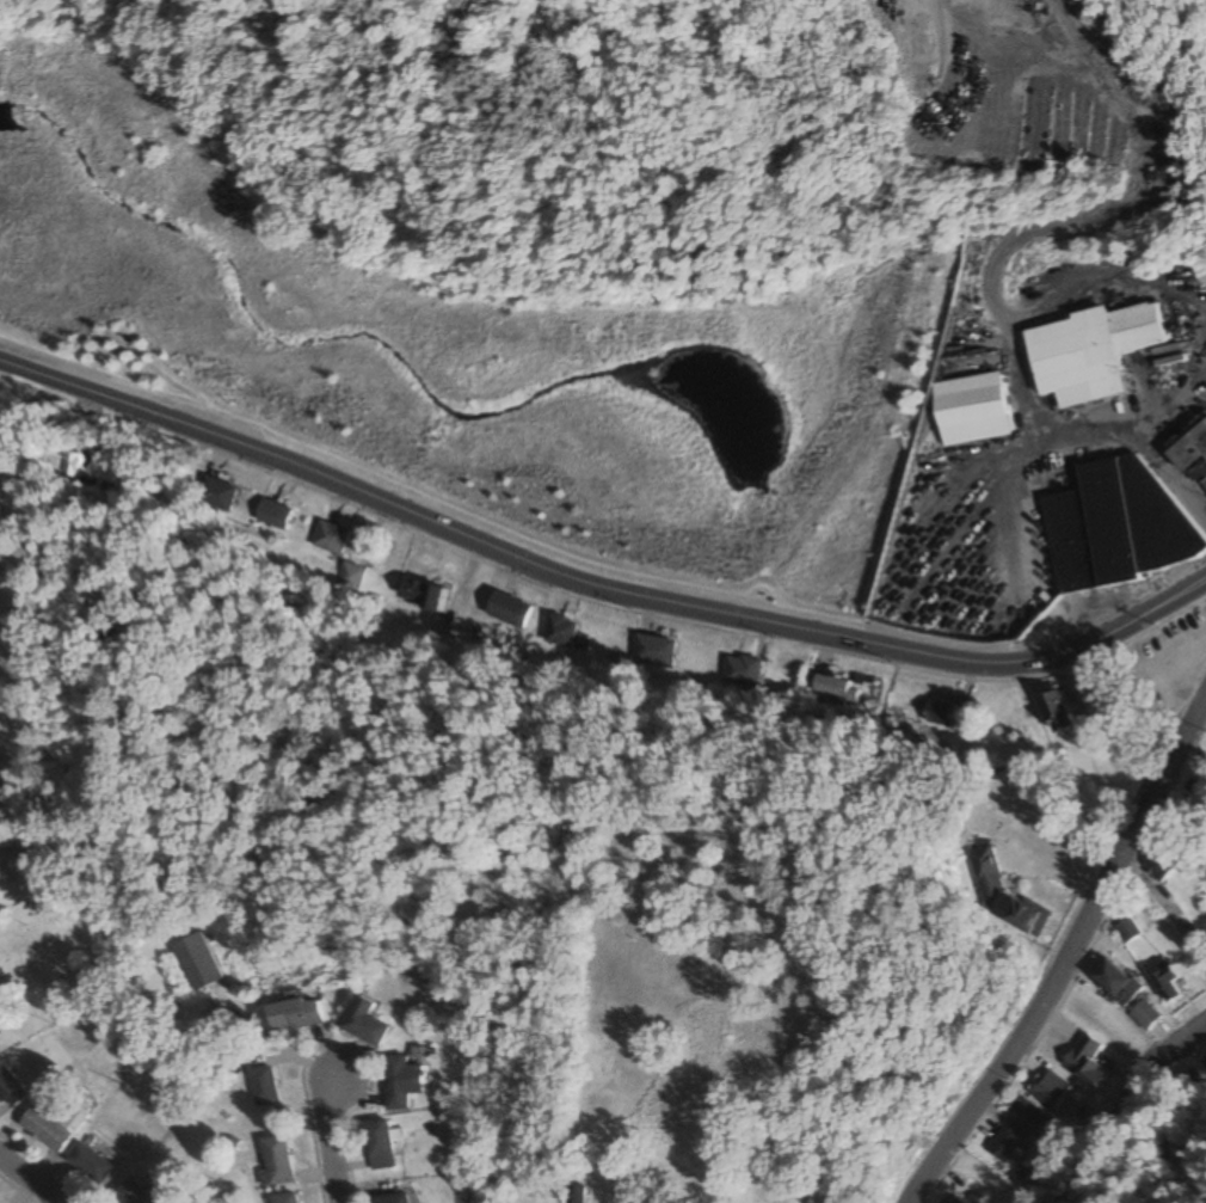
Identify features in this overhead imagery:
road: (1020, 251)
building: (1198, 269)
building: (1089, 351)
park: (488, 366)
road: (166, 379)
building: (970, 409)
road: (208, 431)
building: (1192, 454)
building: (63, 461)
building: (216, 493)
road: (431, 509)
building: (272, 514)
building: (1115, 526)
building: (330, 538)
building: (350, 577)
road: (595, 589)
building: (419, 593)
building: (506, 609)
road: (633, 616)
building: (559, 631)
building: (654, 651)
building: (743, 671)
building: (838, 687)
building: (1054, 711)
building: (941, 714)
building: (1161, 863)
road: (1053, 879)
building: (1003, 896)
road: (1165, 908)
building: (1127, 929)
road: (1066, 956)
building: (196, 962)
building: (1110, 978)
building: (300, 1014)
building: (1144, 1015)
building: (365, 1023)
building: (1085, 1061)
building: (400, 1081)
building: (1190, 1081)
building: (8, 1086)
building: (267, 1086)
building: (1050, 1088)
road: (1121, 1109)
building: (78, 1115)
building: (1023, 1118)
building: (47, 1129)
road: (332, 1138)
building: (379, 1144)
building: (1002, 1146)
building: (1176, 1154)
building: (276, 1162)
building: (90, 1164)
road: (29, 1179)
building: (133, 1192)
building: (284, 1198)
building: (392, 1198)
building: (946, 1202)

